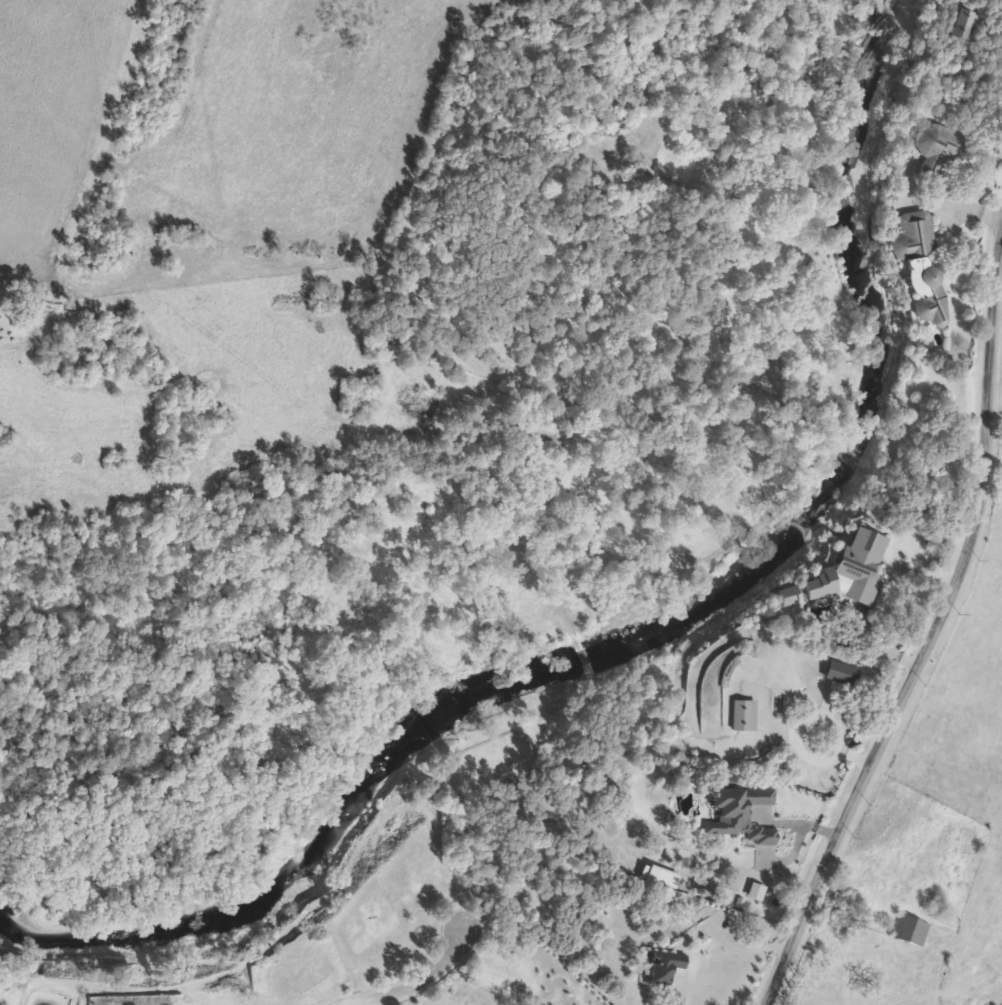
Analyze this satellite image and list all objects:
building: (943, 146)
building: (920, 262)
building: (863, 562)
building: (823, 583)
building: (790, 593)
road: (934, 641)
building: (843, 673)
building: (744, 715)
building: (743, 814)
road: (718, 861)
building: (659, 876)
building: (755, 891)
building: (910, 930)
road: (730, 948)
building: (667, 967)
road: (416, 982)

